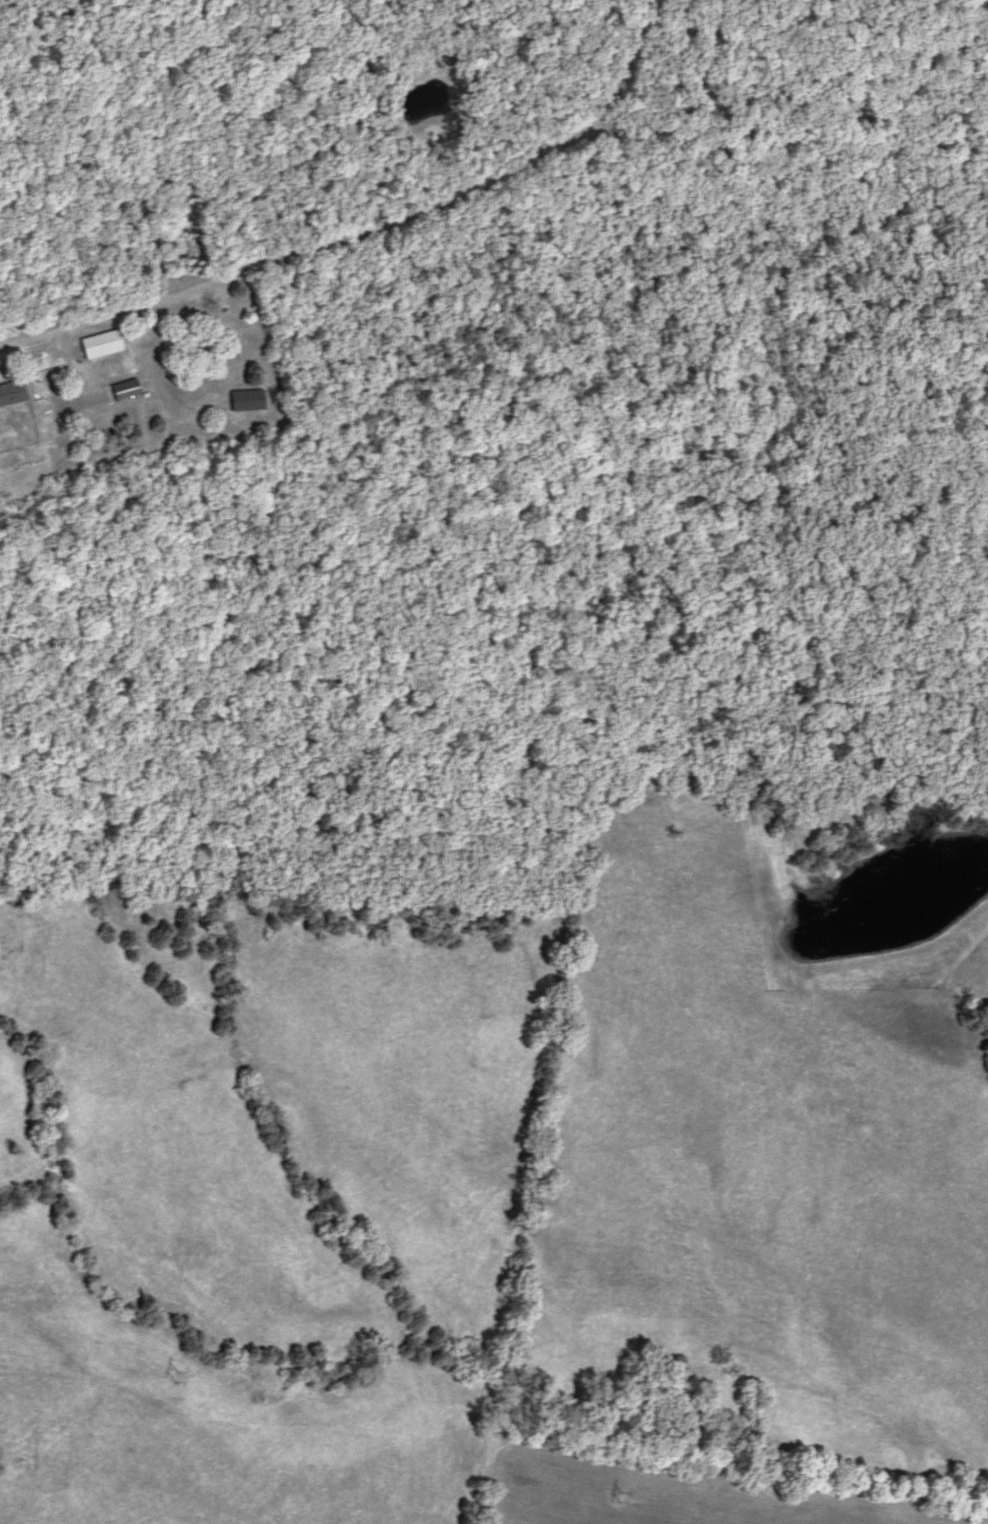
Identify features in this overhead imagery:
road: (371, 228)
building: (103, 345)
building: (127, 390)
building: (13, 393)
building: (249, 400)

